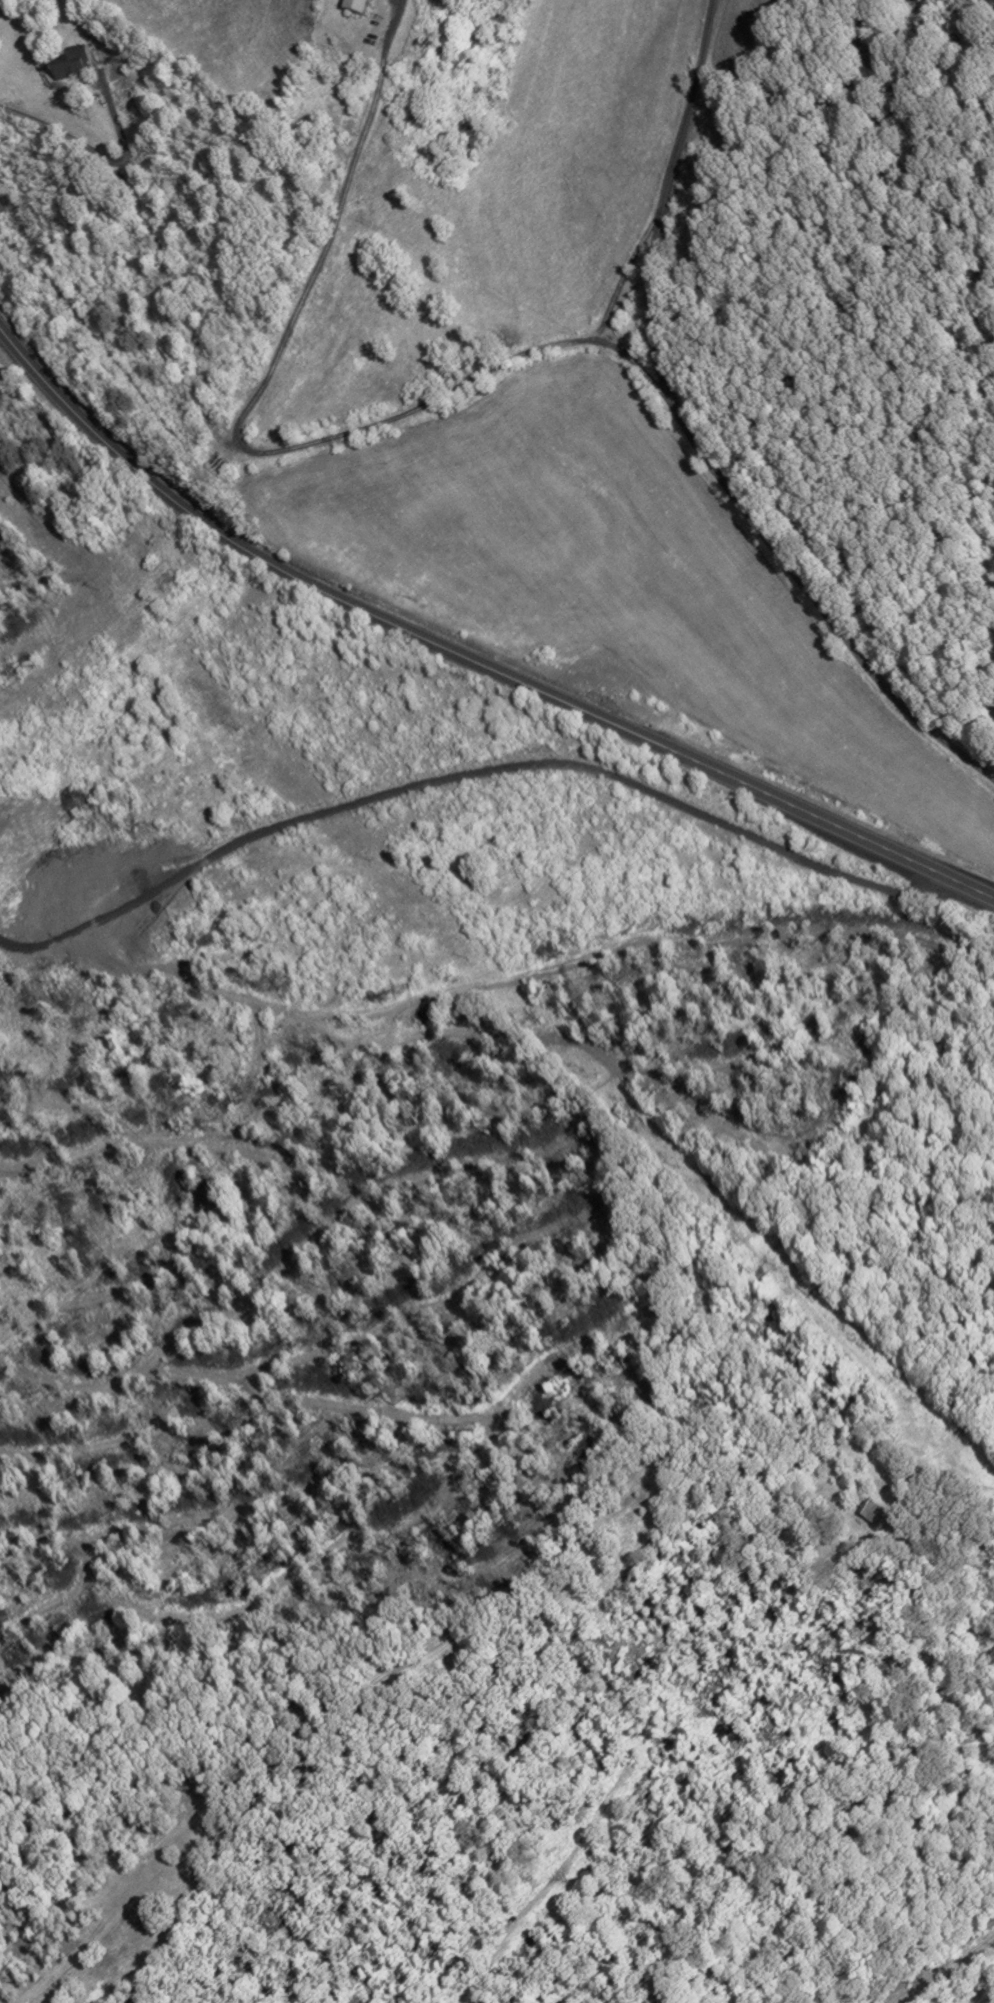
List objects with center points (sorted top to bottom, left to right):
road: (107, 158)
road: (694, 437)
road: (467, 653)
road: (946, 1968)

